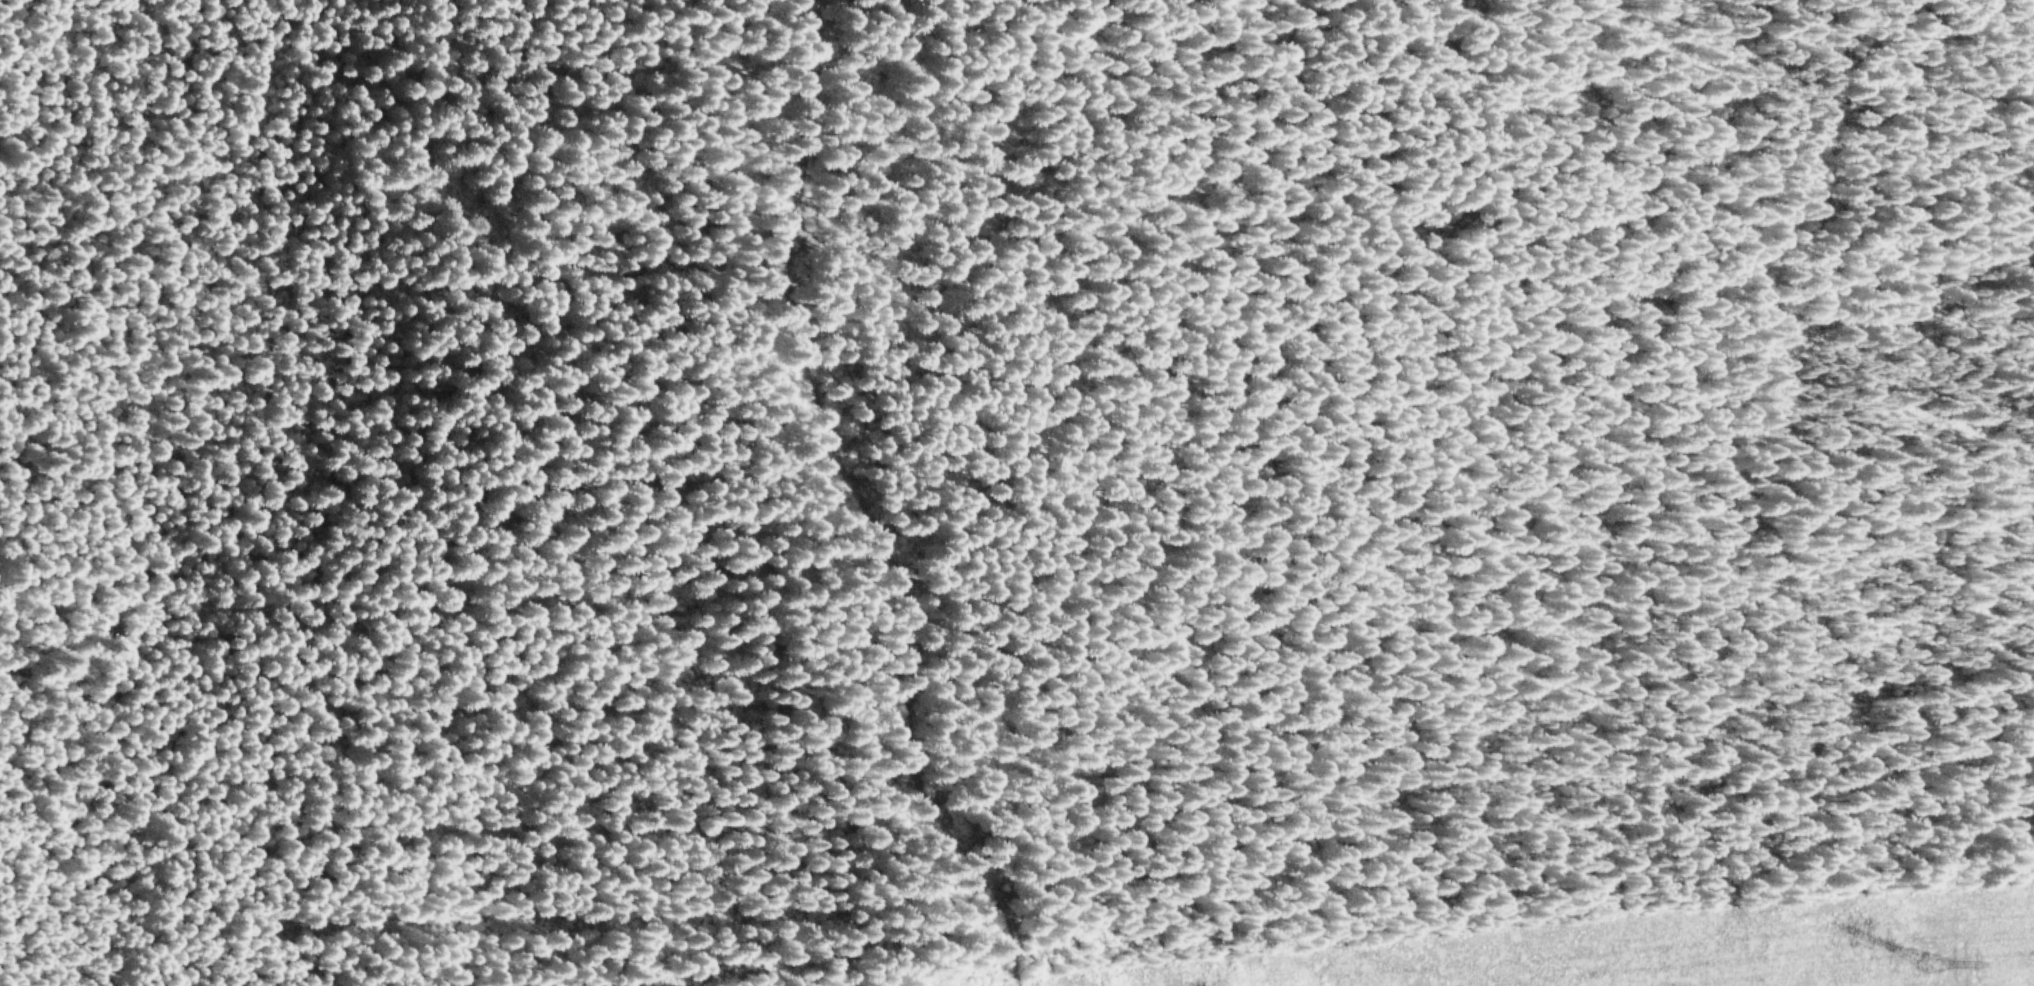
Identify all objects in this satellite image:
power tower: (1926, 957)

